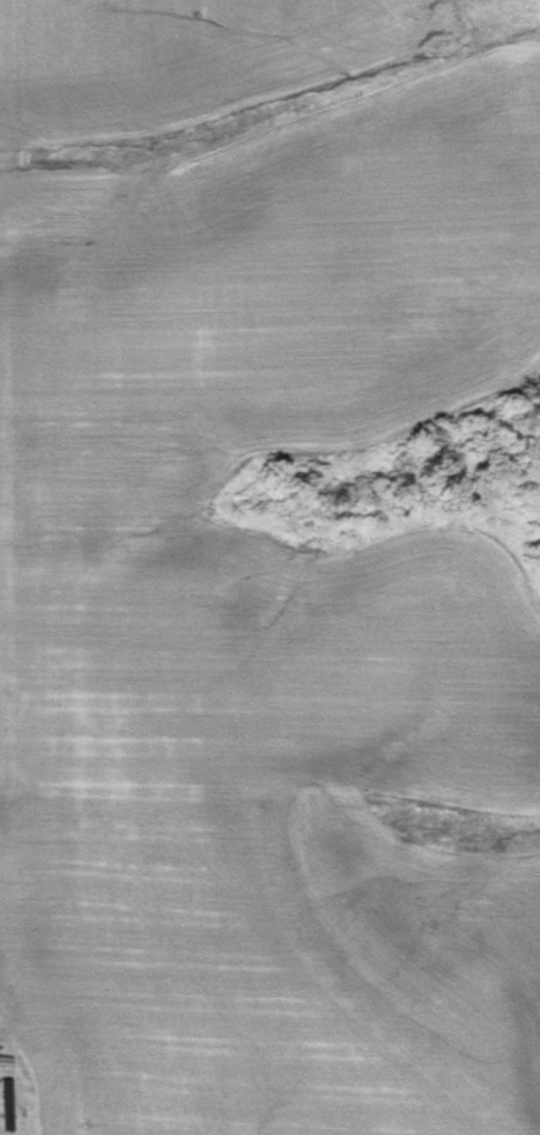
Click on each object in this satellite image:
building: (7, 1060)
building: (7, 1102)

